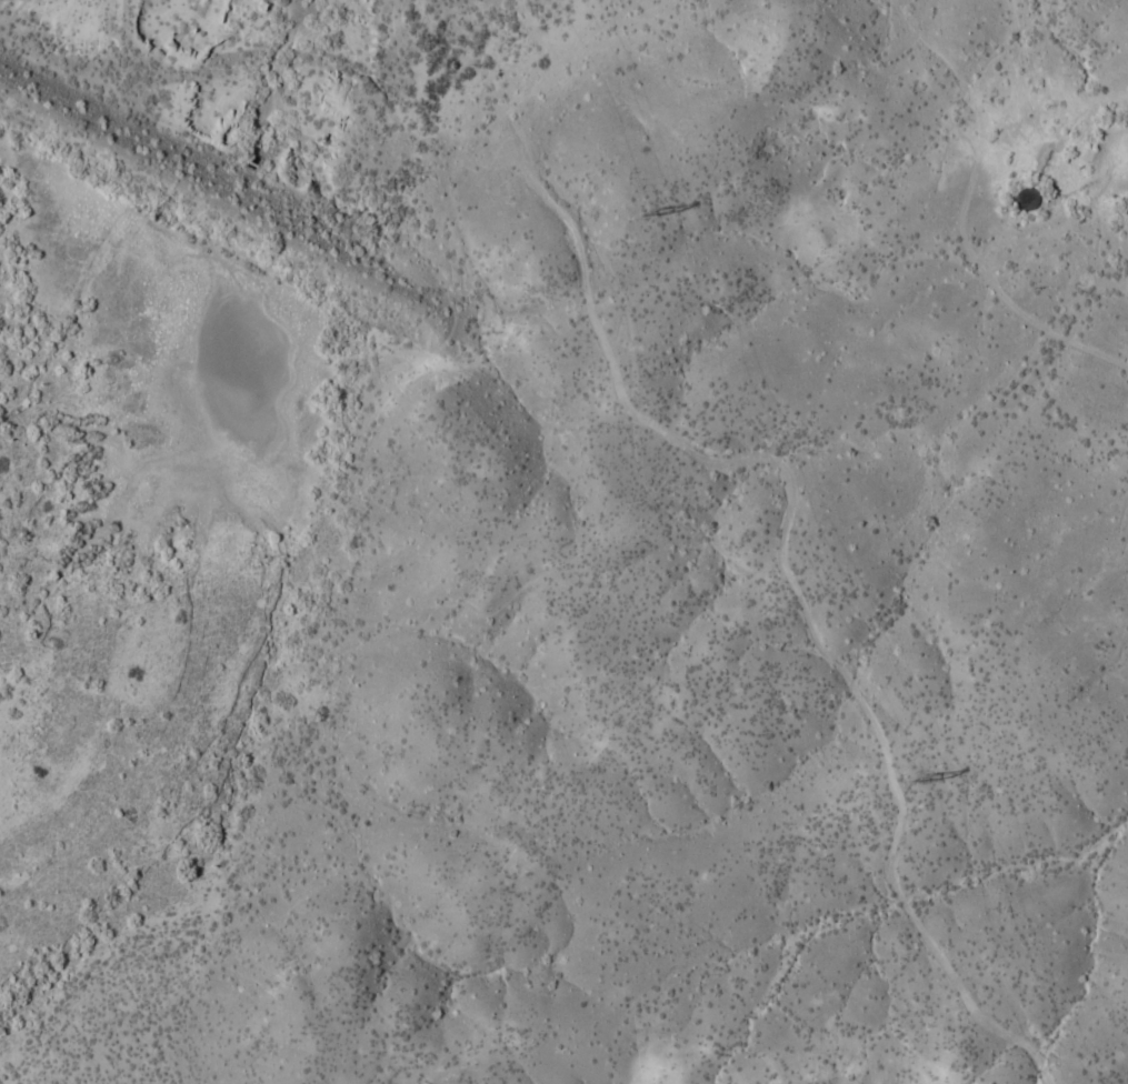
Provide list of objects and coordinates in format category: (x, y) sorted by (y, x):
power tower: (657, 207)
power tower: (921, 775)

